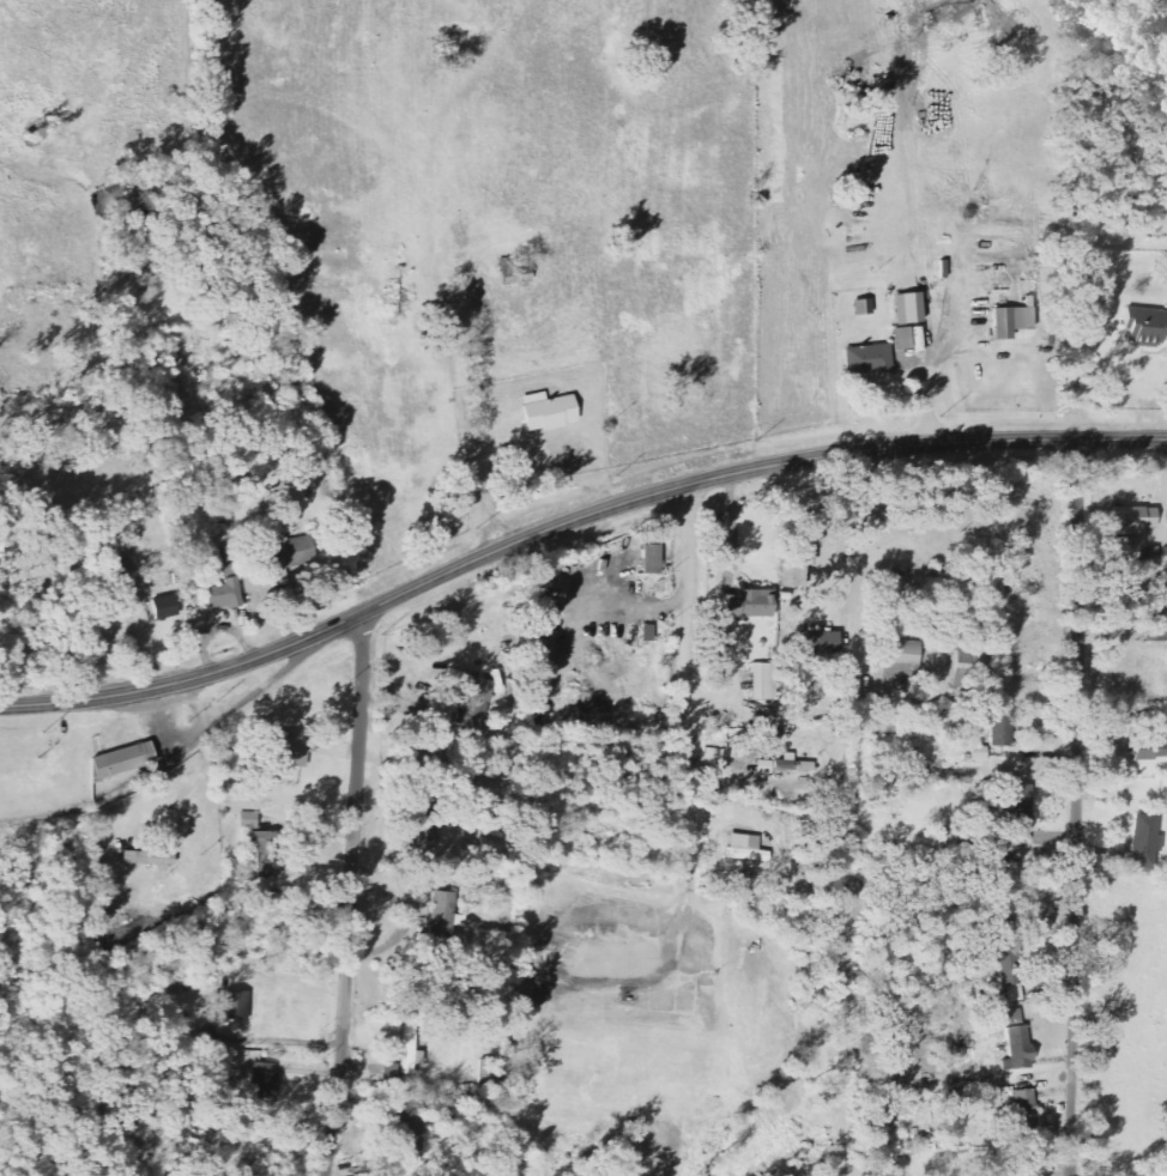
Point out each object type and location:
building: (912, 309)
building: (1006, 323)
building: (1148, 326)
building: (906, 338)
building: (871, 359)
building: (552, 412)
building: (1138, 520)
road: (570, 521)
road: (733, 529)
road: (867, 532)
building: (230, 558)
building: (655, 559)
road: (942, 559)
building: (162, 592)
building: (226, 595)
building: (752, 605)
building: (167, 607)
building: (821, 643)
building: (905, 659)
building: (766, 681)
road: (253, 695)
building: (477, 709)
building: (766, 710)
building: (1161, 717)
building: (1004, 726)
building: (295, 748)
building: (1153, 750)
building: (126, 760)
building: (794, 764)
building: (232, 766)
building: (767, 766)
road: (1076, 806)
building: (1024, 808)
road: (37, 816)
building: (252, 820)
building: (1148, 842)
building: (751, 849)
building: (267, 851)
building: (155, 859)
road: (349, 893)
building: (240, 1005)
building: (1014, 1041)
building: (412, 1050)
building: (267, 1079)
building: (1022, 1109)
road: (1060, 1166)

